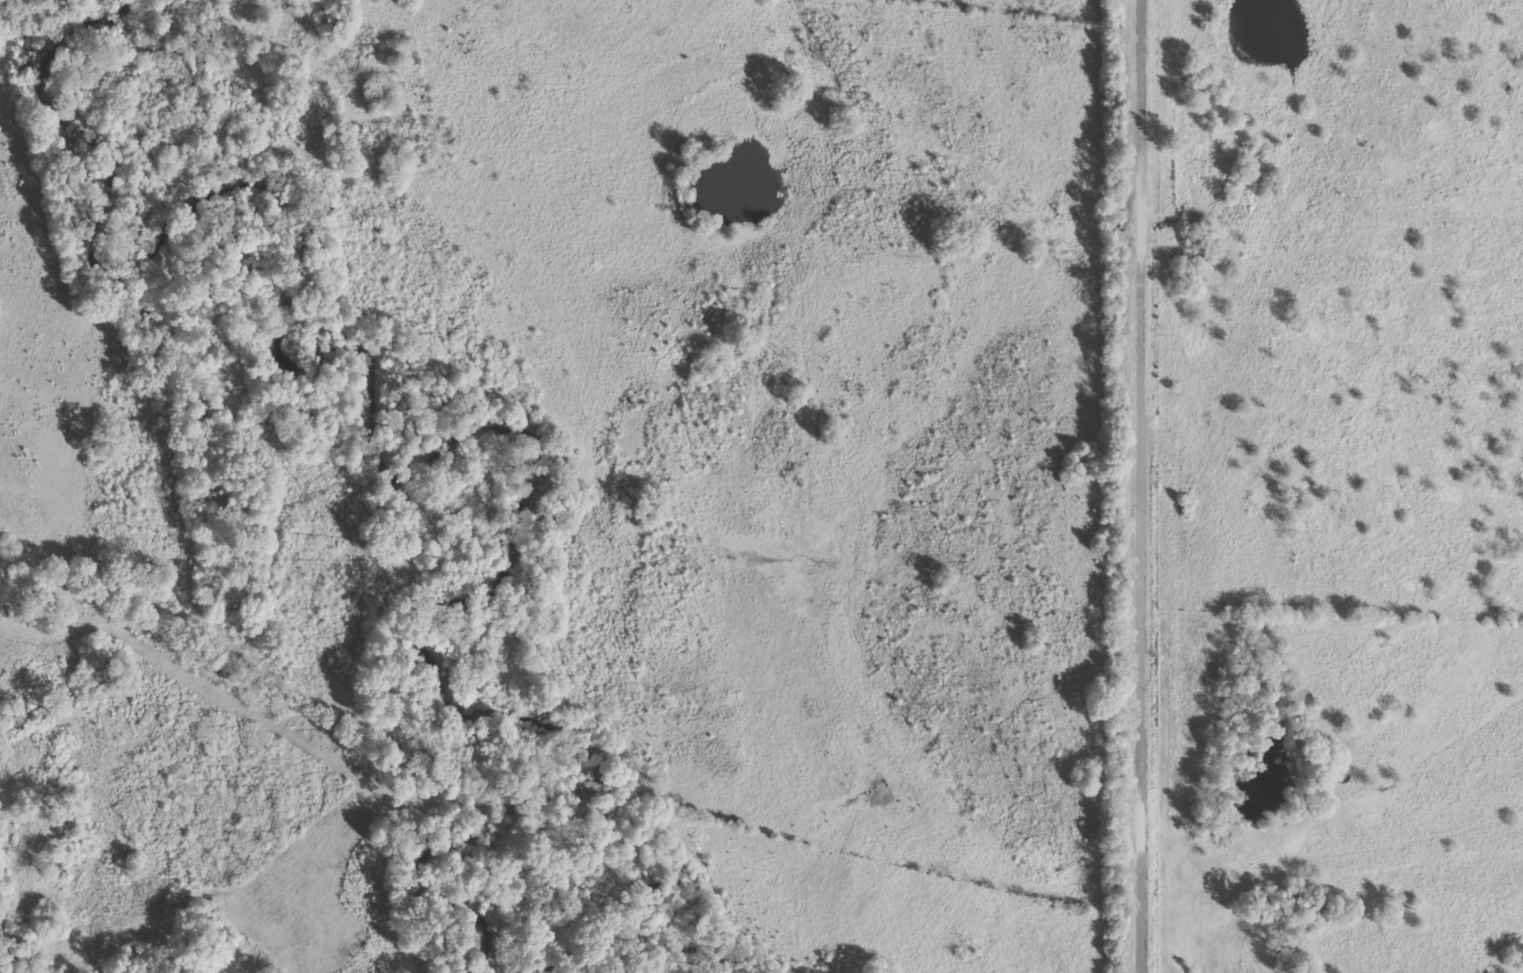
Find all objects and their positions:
road: (1158, 486)

